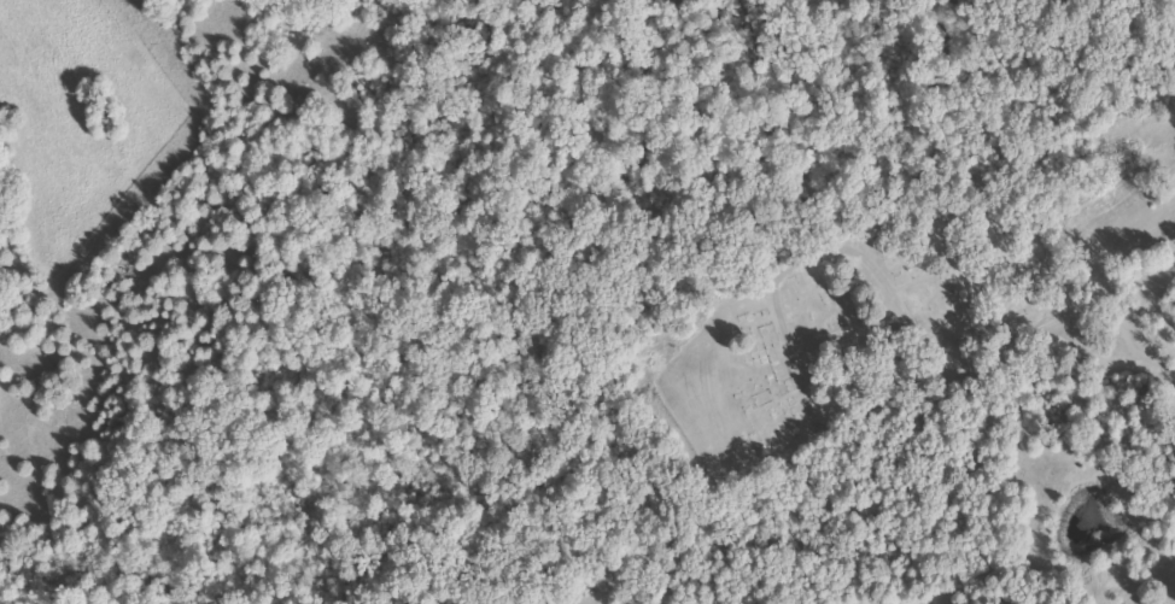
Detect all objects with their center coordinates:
road: (1148, 350)
park: (802, 352)

